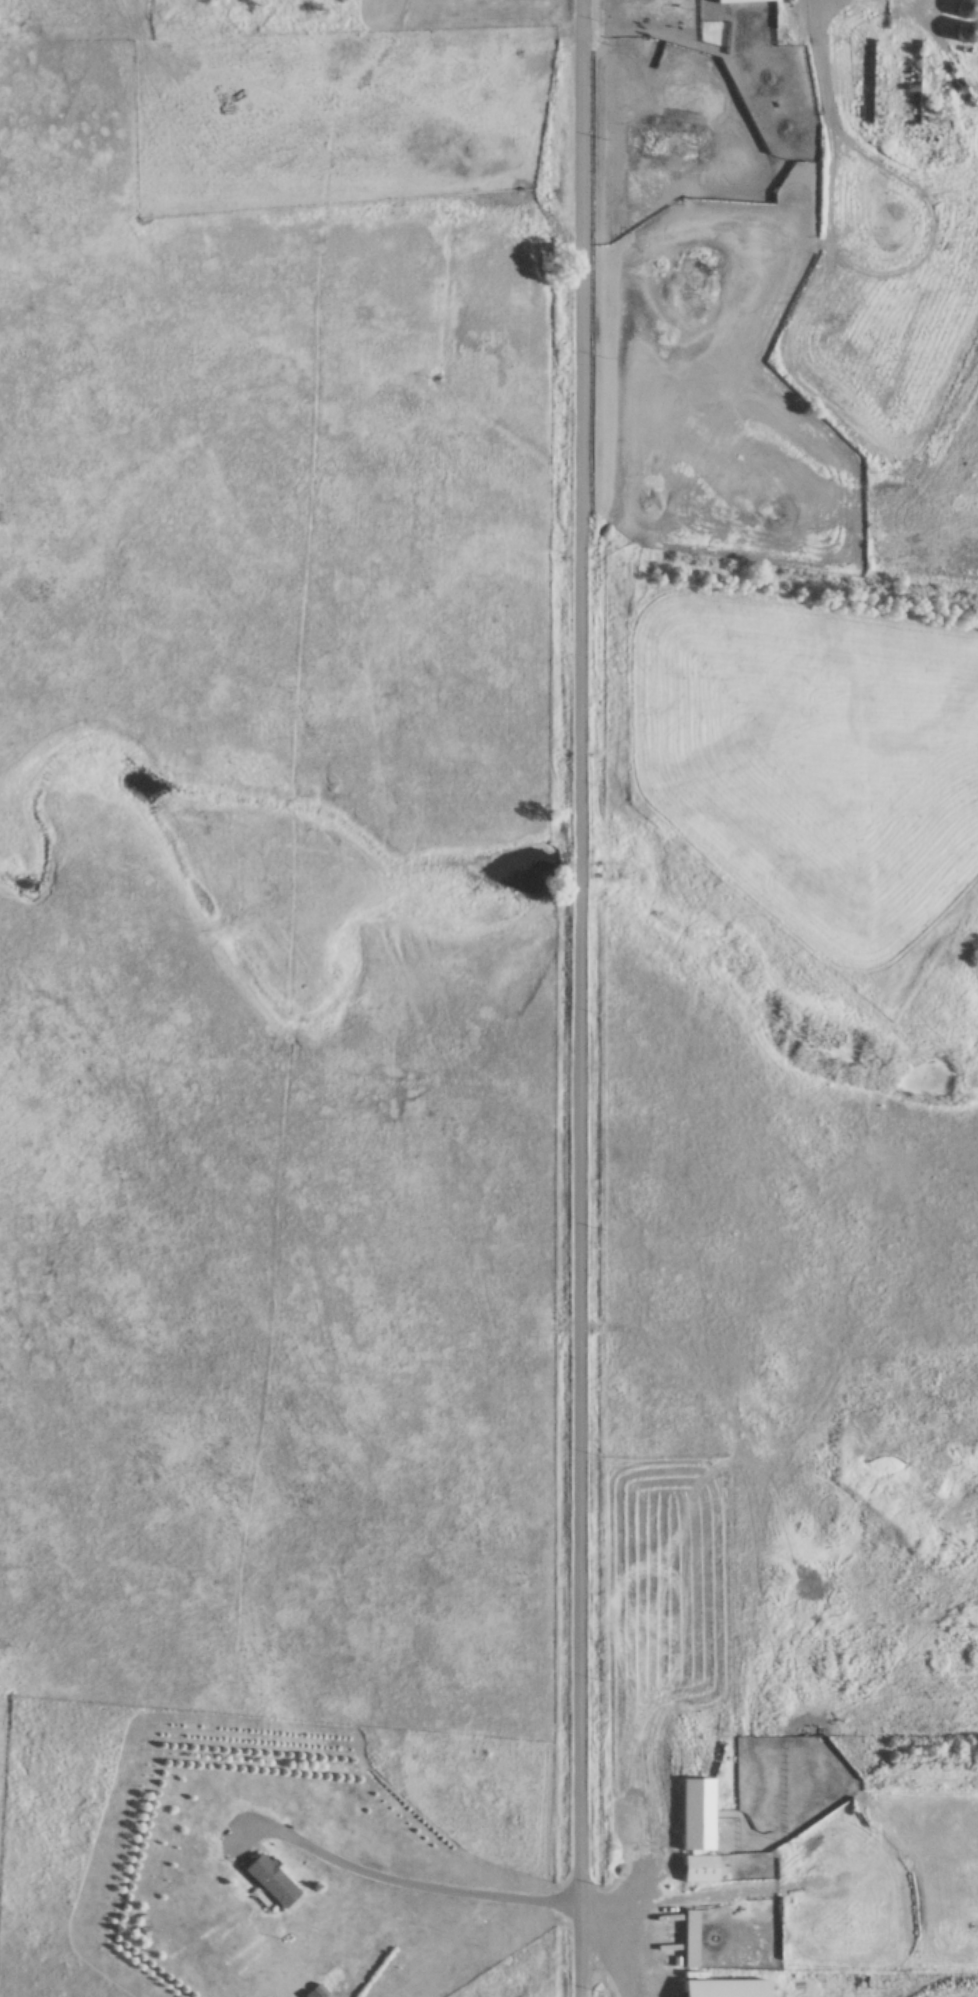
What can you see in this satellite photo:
building: (740, 1)
building: (963, 8)
building: (961, 31)
road: (583, 998)
building: (694, 1832)
building: (268, 1881)
building: (703, 1941)
building: (720, 1988)

